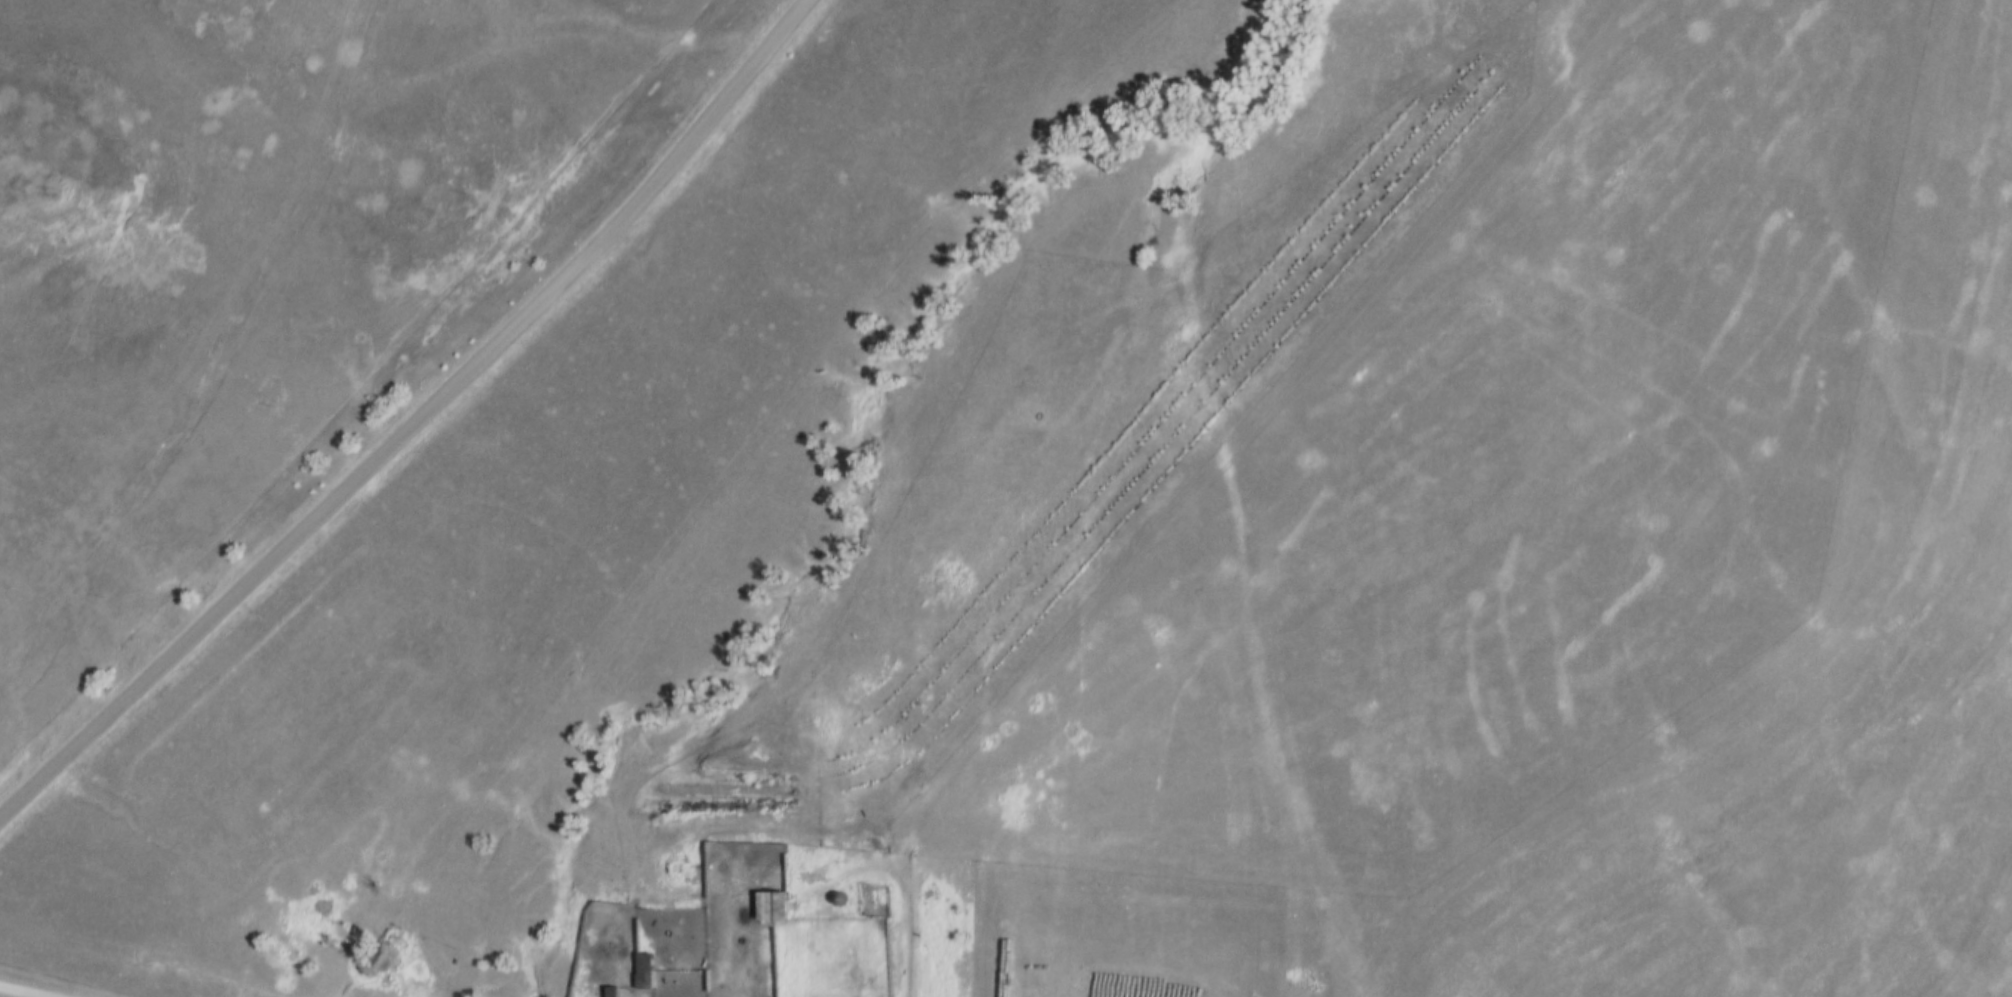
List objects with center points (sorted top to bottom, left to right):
road: (418, 423)
building: (714, 857)
building: (608, 896)
building: (772, 910)
building: (644, 974)
road: (26, 990)
building: (612, 993)

